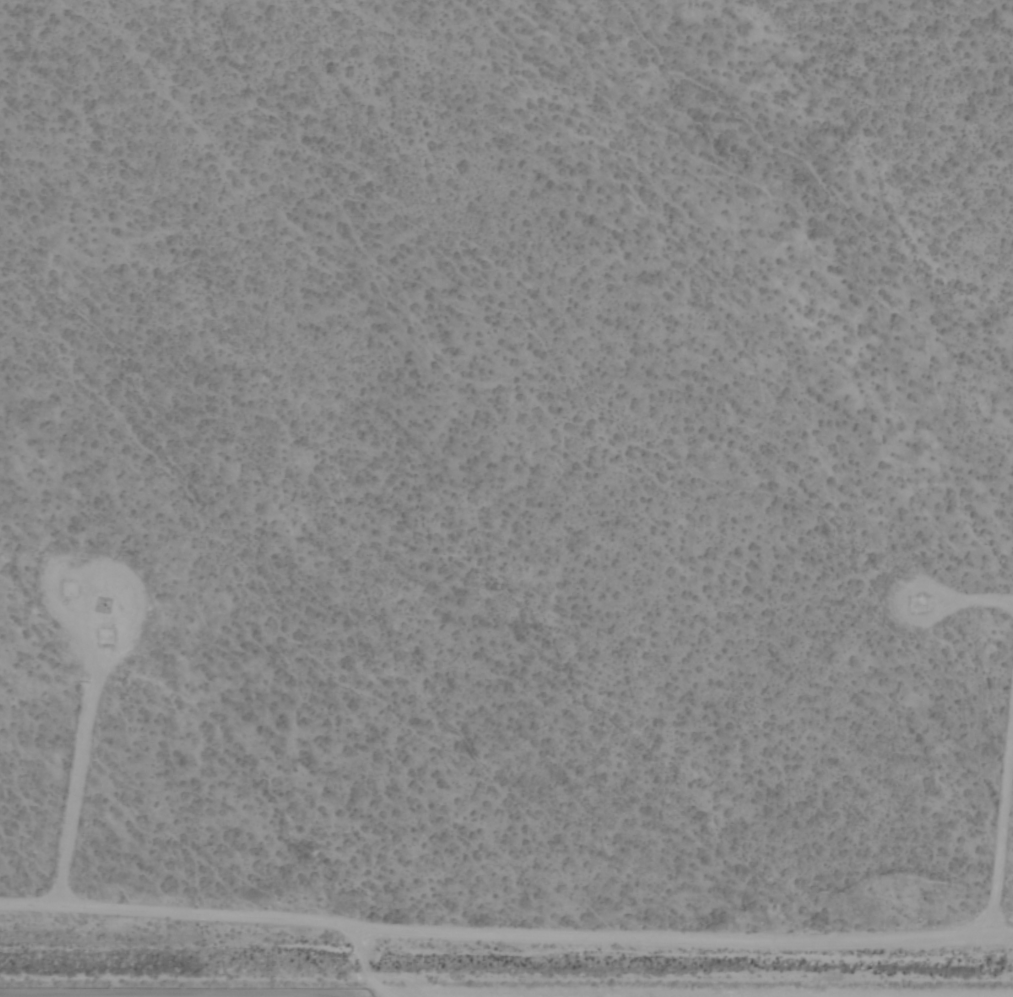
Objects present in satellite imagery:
airport: (506, 498)
road: (506, 932)
road: (669, 992)

